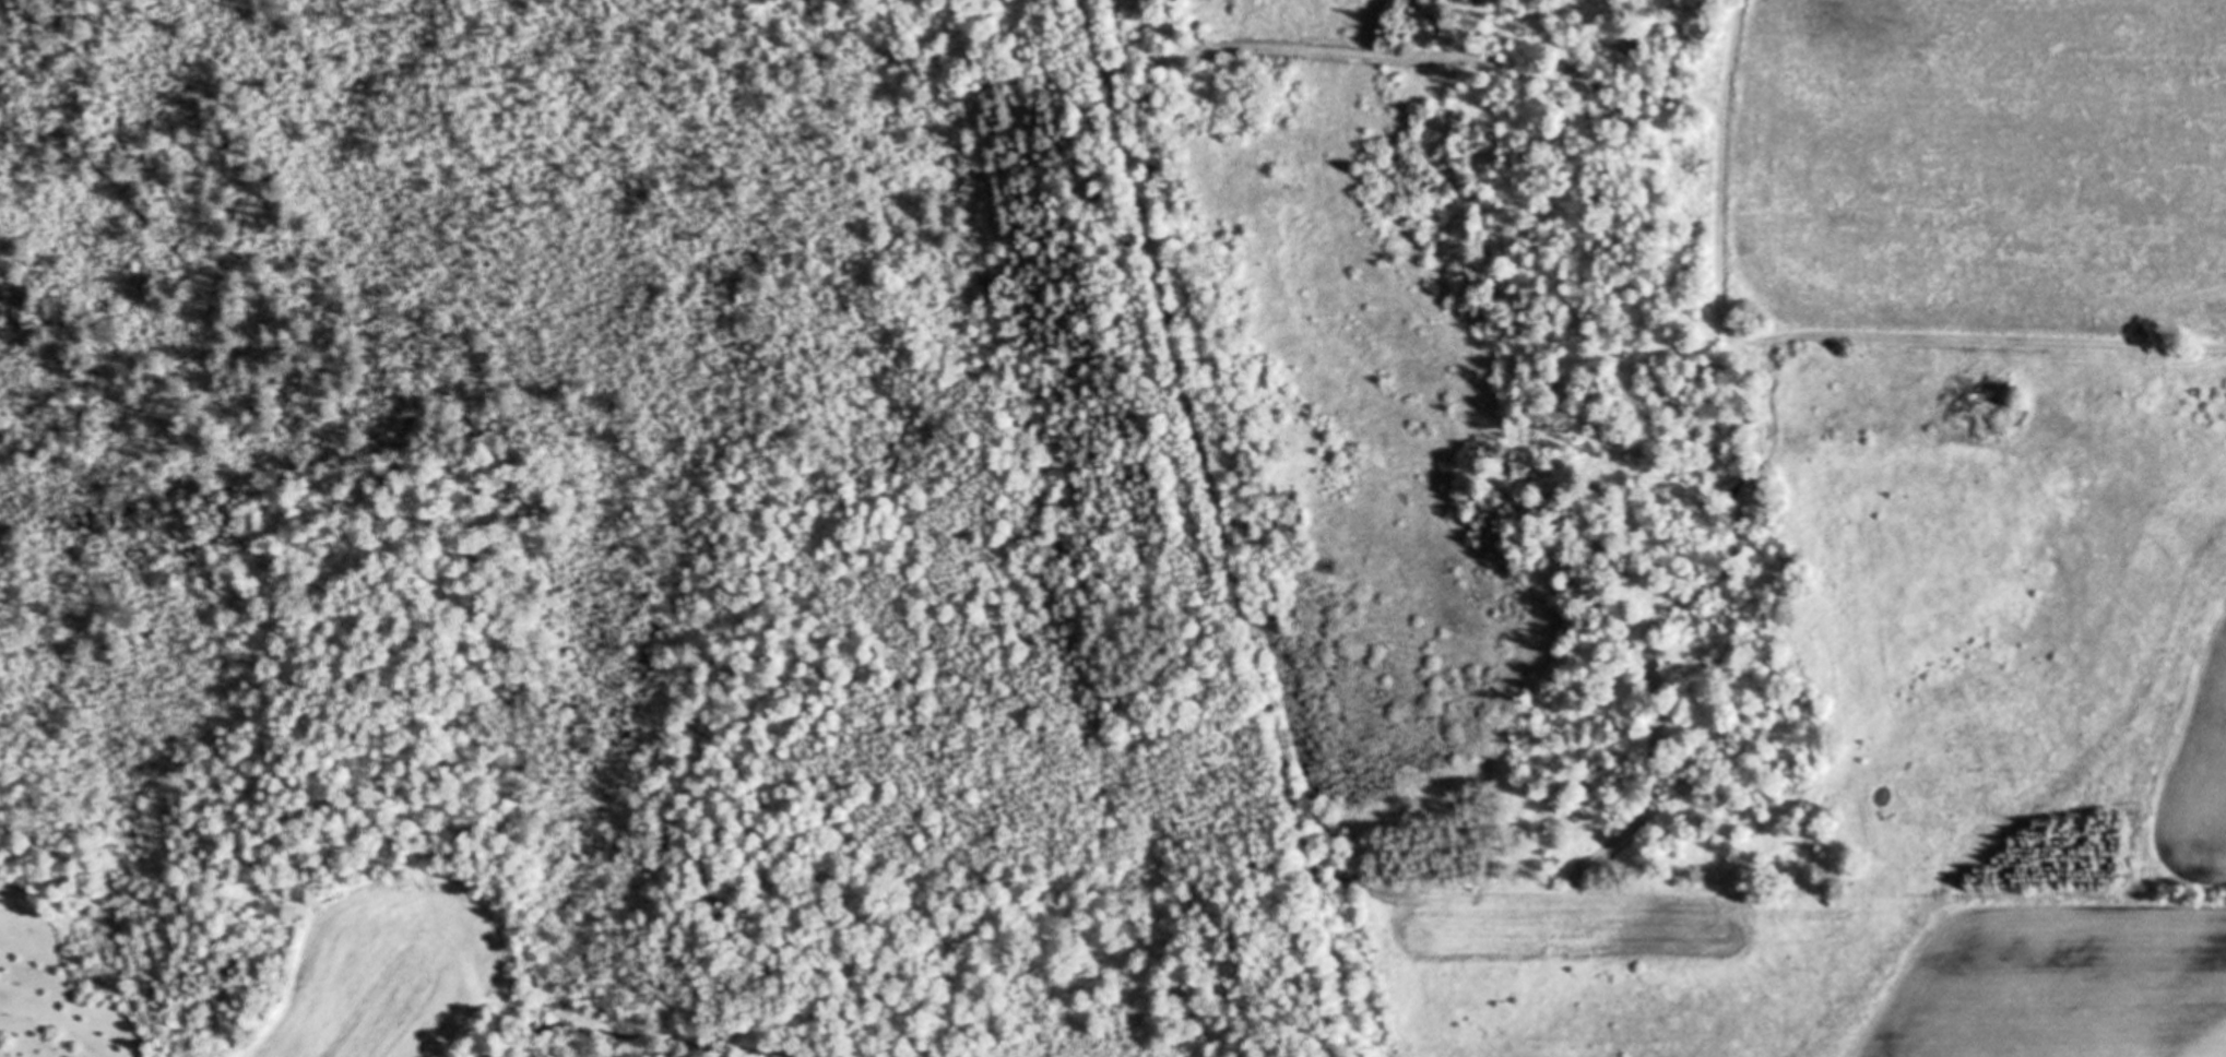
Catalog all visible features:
road: (1223, 528)

